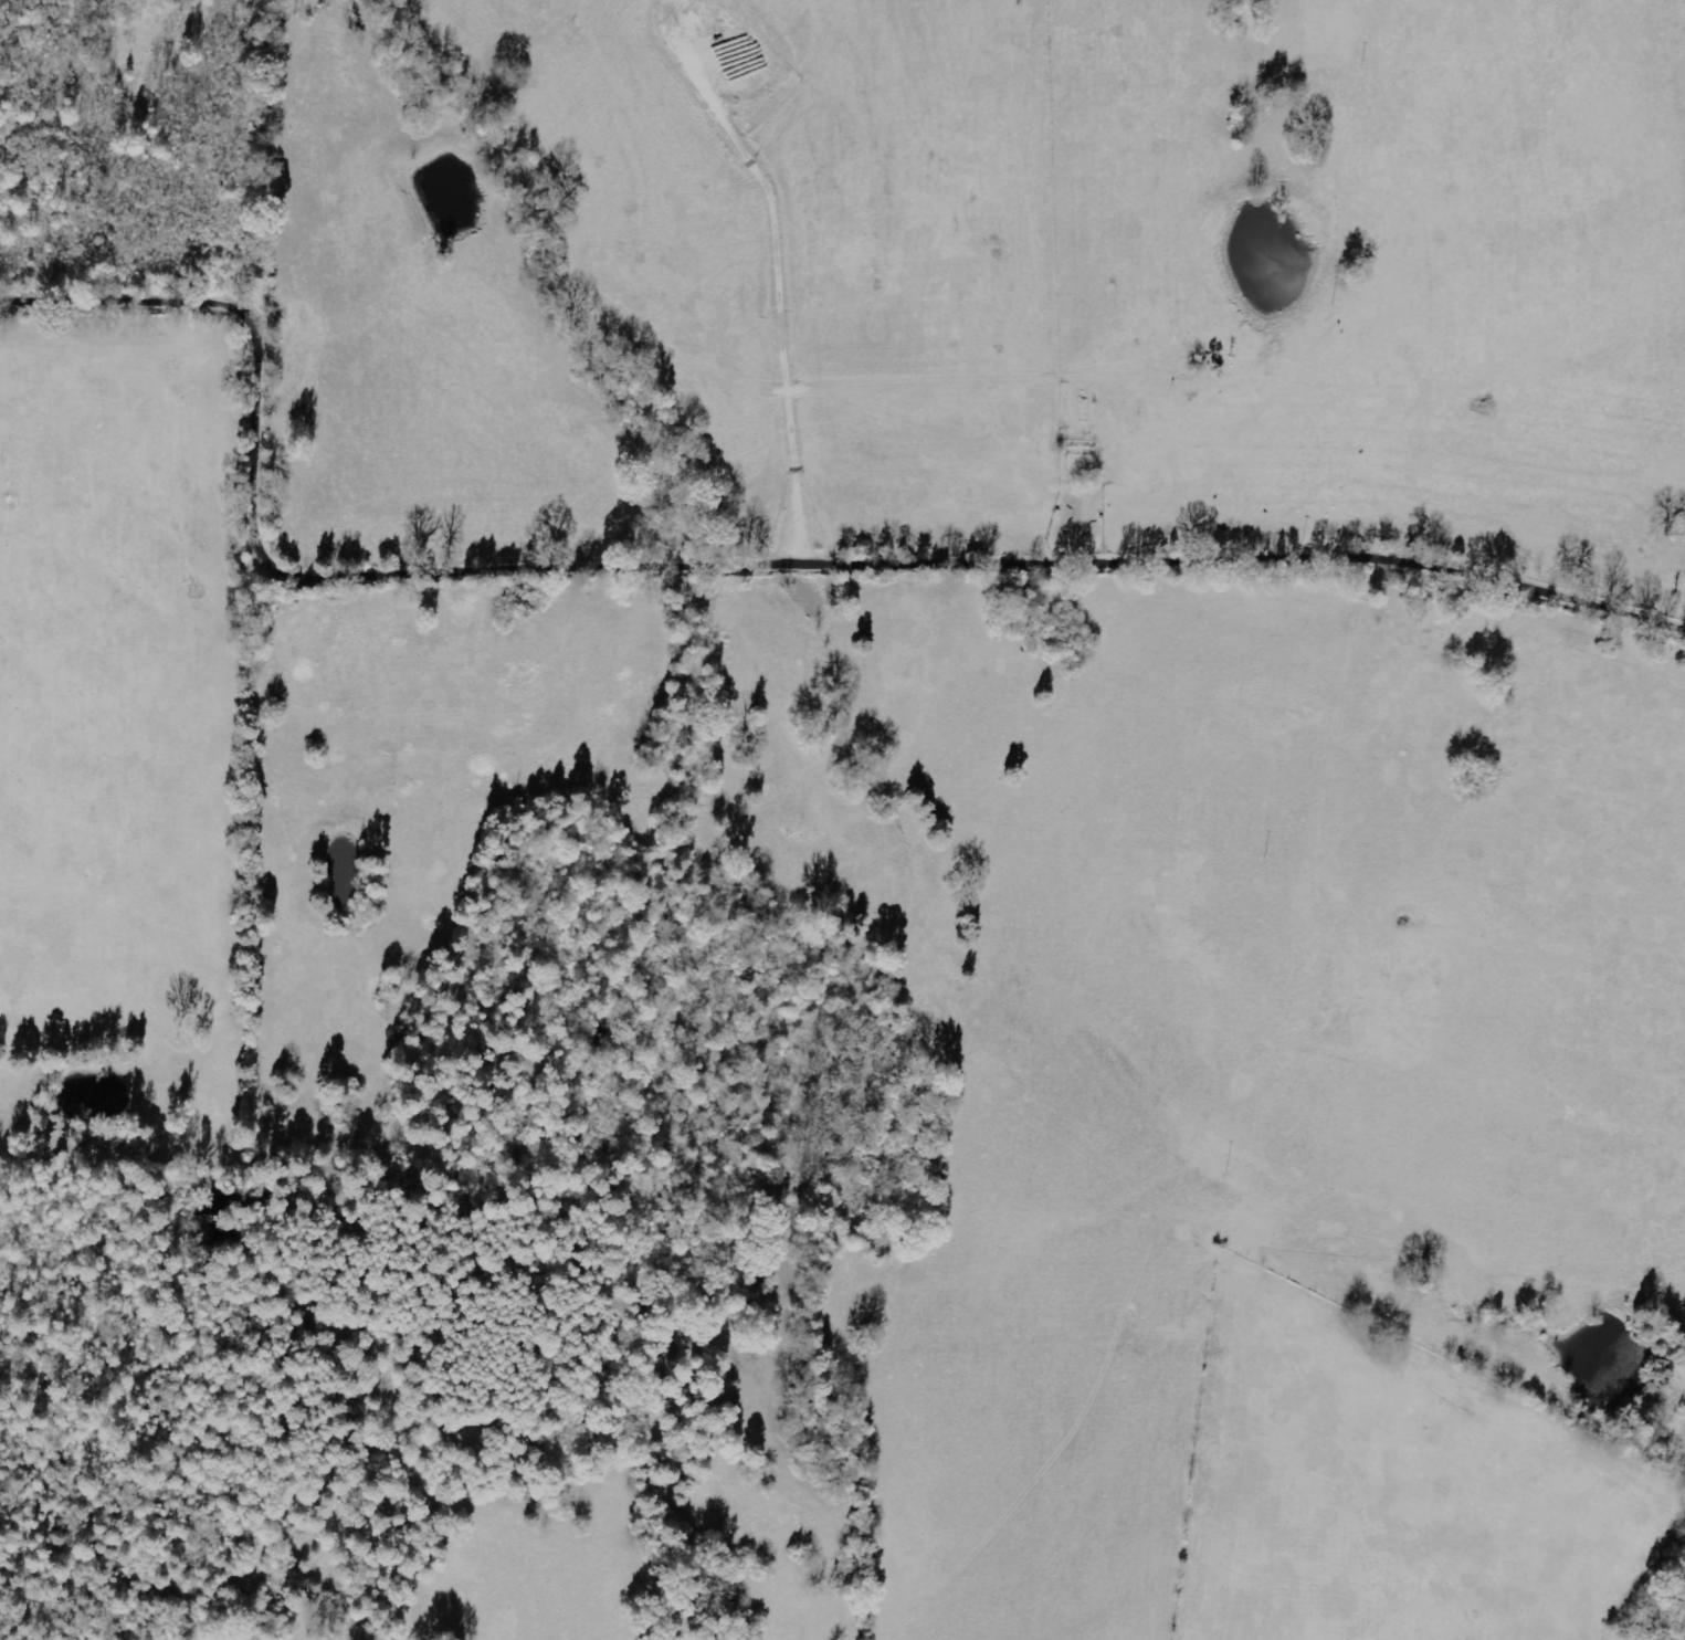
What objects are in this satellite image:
road: (733, 569)

